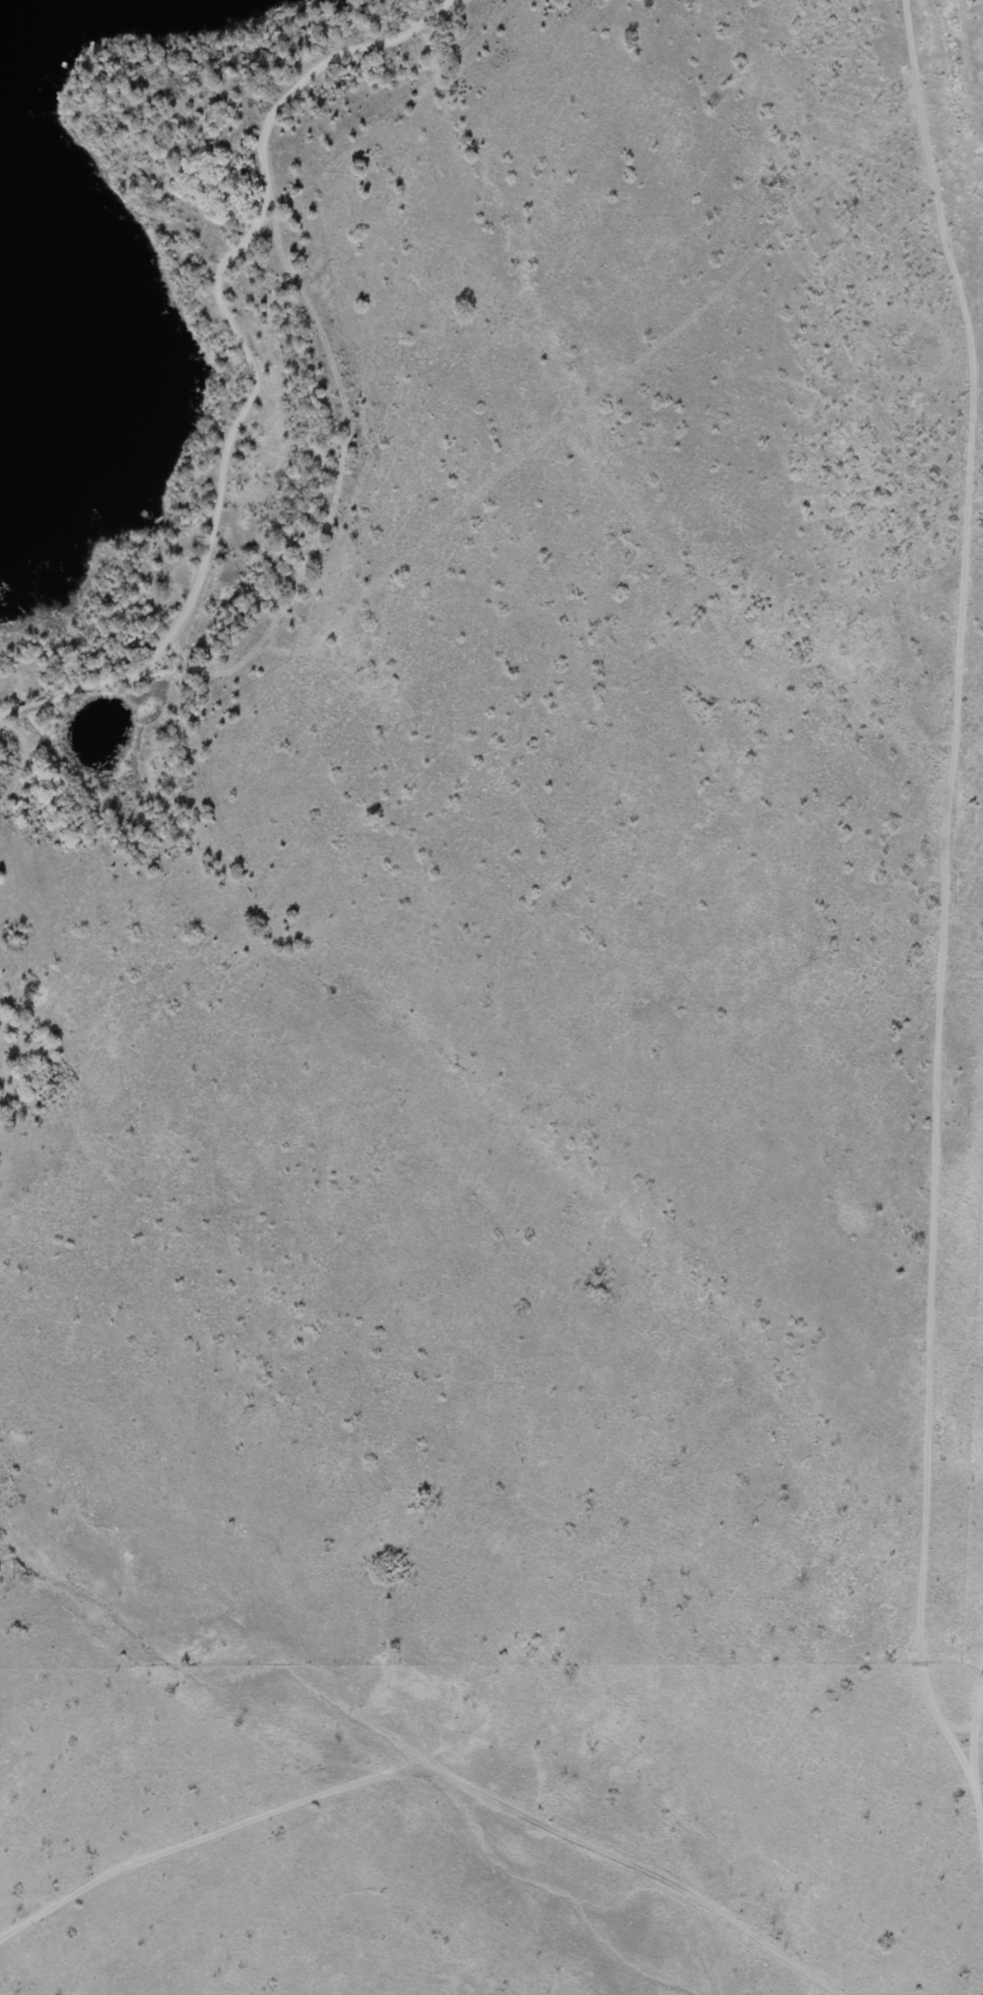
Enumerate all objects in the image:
road: (245, 360)

